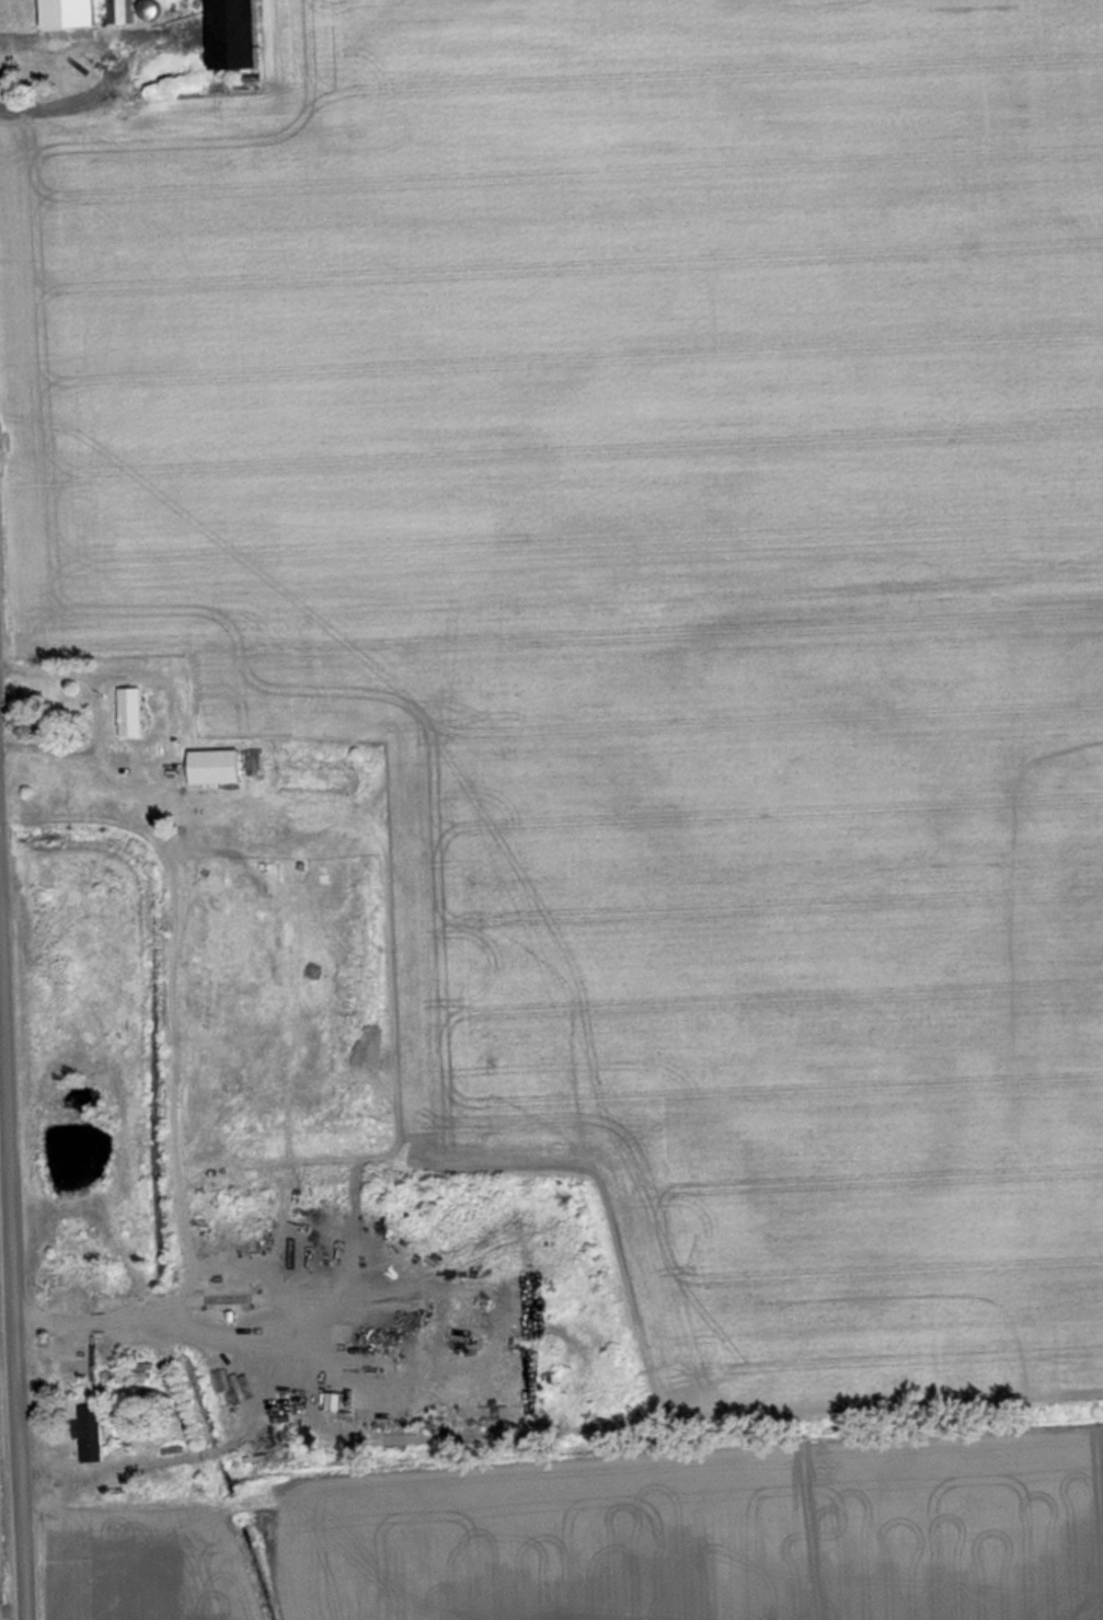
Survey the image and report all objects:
building: (89, 13)
building: (238, 35)
building: (134, 712)
building: (122, 758)
building: (218, 766)
building: (82, 1358)
road: (10, 1364)
building: (93, 1433)

